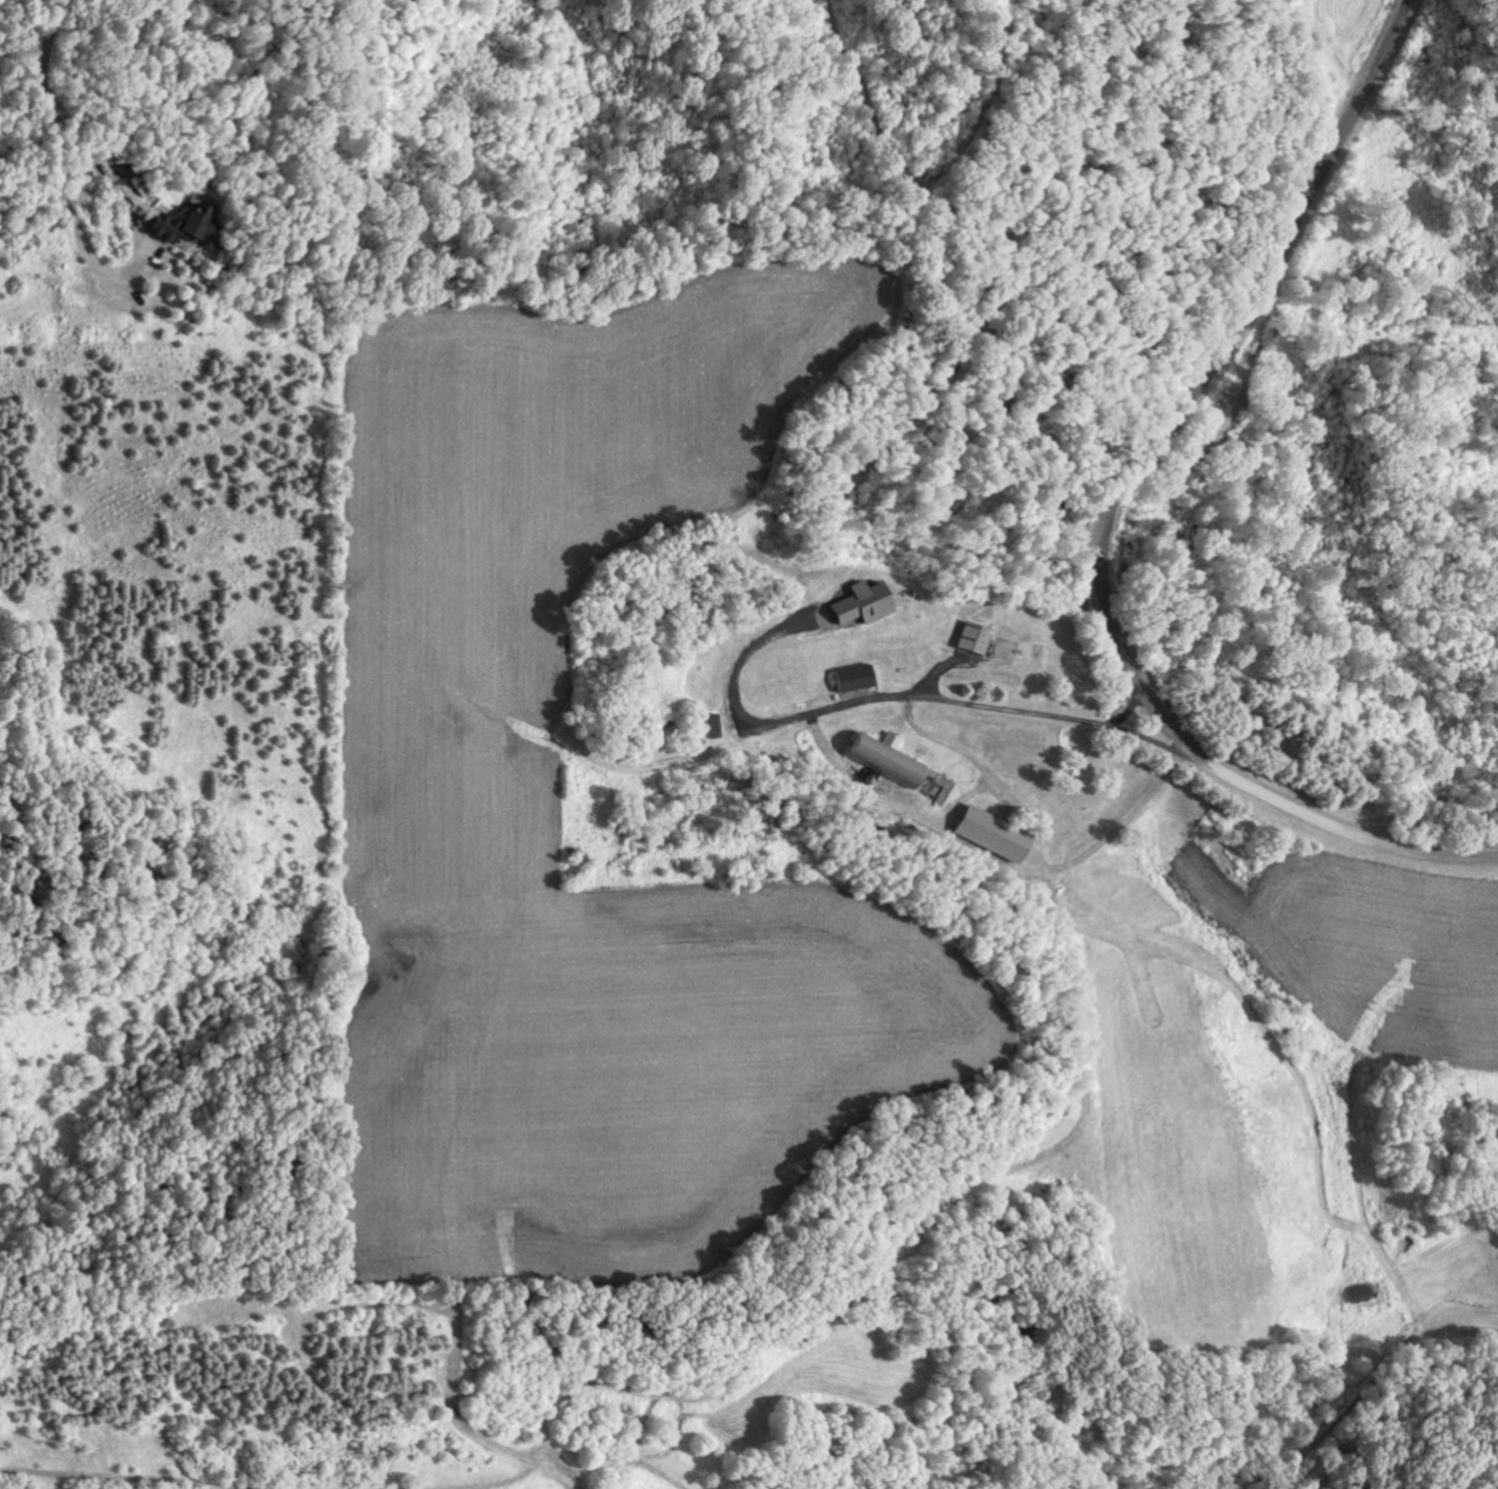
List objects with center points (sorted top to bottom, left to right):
crop: (1357, 35)
building: (177, 227)
road: (1113, 510)
building: (990, 647)
building: (708, 653)
building: (897, 668)
building: (851, 677)
road: (891, 693)
building: (659, 719)
building: (709, 726)
crop: (459, 737)
building: (878, 755)
building: (986, 833)
crop: (1359, 926)
crop: (1246, 1149)

